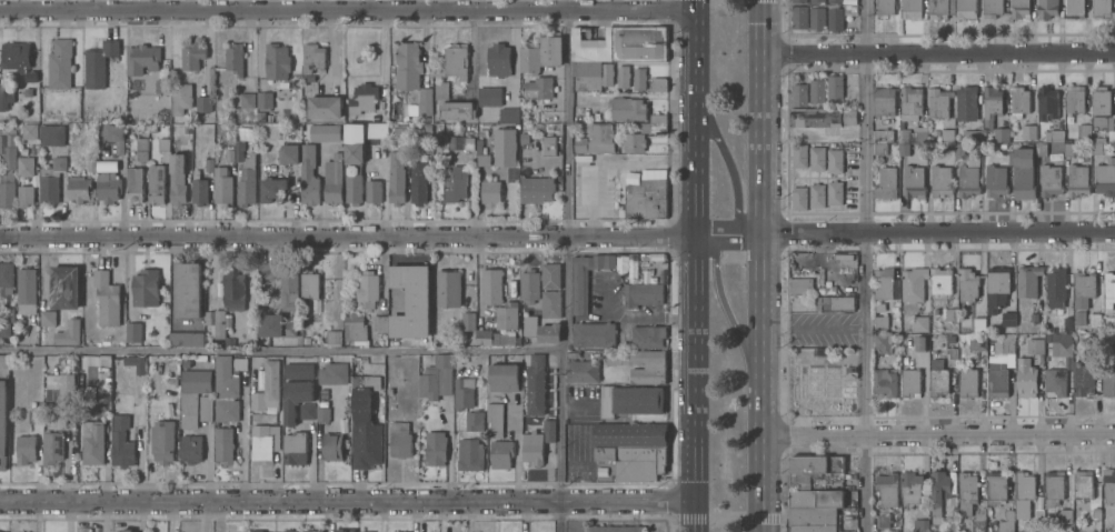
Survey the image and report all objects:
building: (835, 0)
building: (799, 1)
building: (817, 1)
road: (617, 6)
road: (696, 6)
building: (885, 8)
building: (1074, 8)
building: (910, 9)
building: (940, 9)
building: (966, 9)
building: (992, 9)
building: (1047, 9)
building: (1102, 9)
building: (850, 10)
building: (1019, 10)
road: (348, 12)
building: (799, 19)
building: (817, 19)
building: (835, 20)
road: (758, 28)
building: (638, 44)
building: (550, 52)
road: (936, 54)
building: (191, 58)
building: (311, 58)
building: (529, 59)
building: (18, 60)
building: (141, 60)
building: (235, 60)
building: (499, 61)
building: (99, 63)
building: (454, 63)
building: (59, 66)
building: (277, 66)
building: (408, 67)
building: (591, 76)
building: (623, 77)
building: (639, 79)
building: (658, 86)
building: (161, 87)
road: (695, 88)
building: (835, 88)
building: (538, 89)
building: (440, 91)
building: (817, 92)
building: (799, 96)
building: (489, 97)
building: (6, 98)
building: (180, 99)
building: (362, 100)
building: (247, 101)
building: (1074, 101)
building: (265, 102)
building: (884, 102)
building: (1102, 102)
building: (910, 103)
building: (938, 103)
building: (1018, 103)
building: (422, 104)
building: (966, 104)
building: (1047, 104)
building: (202, 106)
building: (990, 107)
building: (325, 109)
building: (508, 109)
building: (627, 109)
building: (455, 112)
building: (822, 118)
building: (657, 119)
building: (1103, 124)
building: (653, 128)
building: (28, 132)
building: (1028, 132)
building: (1084, 132)
building: (325, 133)
building: (400, 133)
building: (51, 134)
building: (919, 134)
building: (947, 135)
building: (1000, 135)
building: (1054, 135)
building: (883, 137)
building: (905, 137)
building: (972, 137)
building: (115, 138)
building: (895, 139)
building: (597, 141)
building: (424, 142)
building: (456, 143)
building: (634, 143)
building: (162, 144)
building: (440, 144)
building: (469, 144)
building: (545, 145)
road: (757, 145)
building: (1098, 147)
building: (505, 148)
building: (8, 149)
building: (141, 150)
building: (880, 150)
building: (904, 150)
building: (932, 150)
building: (1068, 150)
building: (958, 151)
building: (1042, 151)
building: (288, 155)
building: (357, 157)
building: (798, 157)
building: (816, 159)
building: (482, 160)
road: (605, 162)
building: (834, 162)
building: (973, 162)
building: (24, 167)
building: (91, 167)
road: (729, 167)
building: (245, 172)
building: (1023, 174)
building: (1106, 178)
building: (332, 180)
building: (396, 180)
building: (50, 181)
building: (177, 181)
parking lot: (605, 181)
building: (995, 181)
building: (1077, 181)
building: (308, 182)
building: (940, 182)
building: (968, 182)
building: (1051, 182)
building: (418, 183)
building: (914, 183)
building: (135, 184)
building: (156, 184)
building: (455, 184)
building: (886, 184)
building: (108, 188)
building: (222, 188)
building: (78, 189)
building: (199, 190)
building: (537, 190)
building: (7, 191)
building: (272, 191)
building: (372, 193)
building: (490, 193)
building: (834, 193)
building: (24, 197)
building: (816, 197)
building: (798, 199)
building: (646, 200)
road: (691, 200)
road: (936, 233)
road: (345, 235)
road: (724, 235)
road: (565, 265)
road: (866, 265)
building: (268, 271)
building: (549, 277)
building: (7, 278)
road: (690, 278)
building: (586, 279)
building: (1028, 281)
building: (940, 282)
building: (884, 284)
building: (914, 284)
building: (968, 285)
building: (1109, 285)
building: (309, 287)
building: (529, 287)
building: (802, 287)
building: (26, 288)
building: (1055, 288)
building: (64, 289)
building: (145, 289)
building: (448, 289)
building: (490, 289)
building: (997, 289)
building: (1083, 289)
building: (367, 290)
building: (188, 291)
building: (233, 291)
building: (288, 292)
building: (641, 295)
building: (107, 300)
building: (411, 302)
building: (834, 303)
building: (550, 305)
road: (725, 308)
parking lot: (618, 309)
road: (630, 315)
building: (950, 315)
building: (506, 317)
building: (46, 318)
building: (1008, 320)
building: (1036, 320)
building: (1094, 321)
building: (7, 322)
building: (468, 322)
building: (884, 324)
building: (920, 324)
building: (219, 325)
building: (978, 325)
building: (1067, 325)
building: (529, 327)
building: (275, 328)
building: (380, 330)
building: (355, 332)
building: (132, 333)
building: (68, 334)
building: (549, 334)
building: (593, 335)
building: (647, 338)
building: (335, 339)
building: (488, 339)
building: (186, 340)
building: (950, 340)
building: (977, 343)
building: (1095, 343)
building: (886, 344)
building: (920, 344)
building: (1004, 344)
building: (1035, 348)
building: (1065, 352)
road: (280, 353)
building: (953, 354)
building: (999, 360)
building: (3, 361)
building: (238, 363)
building: (135, 364)
building: (655, 368)
building: (50, 369)
building: (469, 370)
building: (897, 371)
building: (149, 372)
building: (298, 372)
building: (581, 372)
building: (853, 372)
building: (332, 374)
building: (432, 378)
building: (504, 379)
building: (938, 379)
building: (1108, 379)
building: (1083, 380)
building: (270, 381)
building: (997, 381)
building: (885, 382)
building: (1056, 382)
road: (757, 383)
building: (1026, 383)
building: (60, 384)
building: (910, 384)
building: (967, 384)
building: (535, 385)
building: (225, 391)
building: (464, 394)
building: (192, 395)
building: (295, 399)
building: (67, 400)
building: (629, 401)
building: (205, 408)
building: (307, 412)
building: (321, 415)
building: (34, 418)
building: (496, 421)
building: (475, 422)
building: (2, 424)
road: (693, 424)
building: (365, 425)
building: (548, 431)
parking lot: (584, 434)
road: (936, 434)
building: (400, 441)
building: (162, 442)
building: (93, 444)
building: (121, 444)
building: (51, 446)
building: (332, 446)
building: (222, 448)
building: (261, 448)
building: (295, 449)
building: (436, 449)
building: (532, 449)
building: (26, 450)
building: (190, 450)
building: (633, 450)
road: (516, 451)
building: (470, 455)
building: (501, 455)
building: (817, 464)
building: (818, 478)
building: (799, 482)
building: (1082, 484)
building: (1108, 485)
building: (910, 488)
building: (996, 489)
building: (1053, 489)
building: (887, 490)
building: (967, 493)
building: (1024, 495)
building: (816, 499)
building: (938, 499)
road: (347, 502)
building: (1096, 514)
building: (812, 516)
building: (1038, 516)
building: (1064, 516)
building: (883, 522)
building: (978, 522)
building: (950, 523)
building: (1006, 523)
building: (920, 526)
building: (810, 528)
building: (614, 529)
building: (127, 531)
building: (257, 531)
building: (293, 531)
building: (313, 531)
building: (344, 531)
building: (364, 531)
building: (397, 531)

